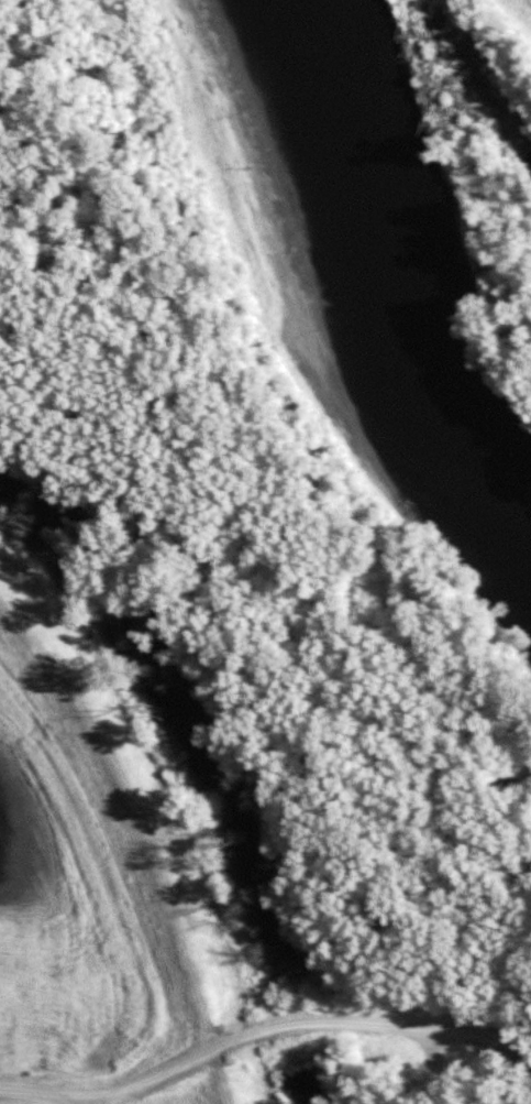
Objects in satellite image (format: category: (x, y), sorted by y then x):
river: (346, 294)
road: (40, 1092)

